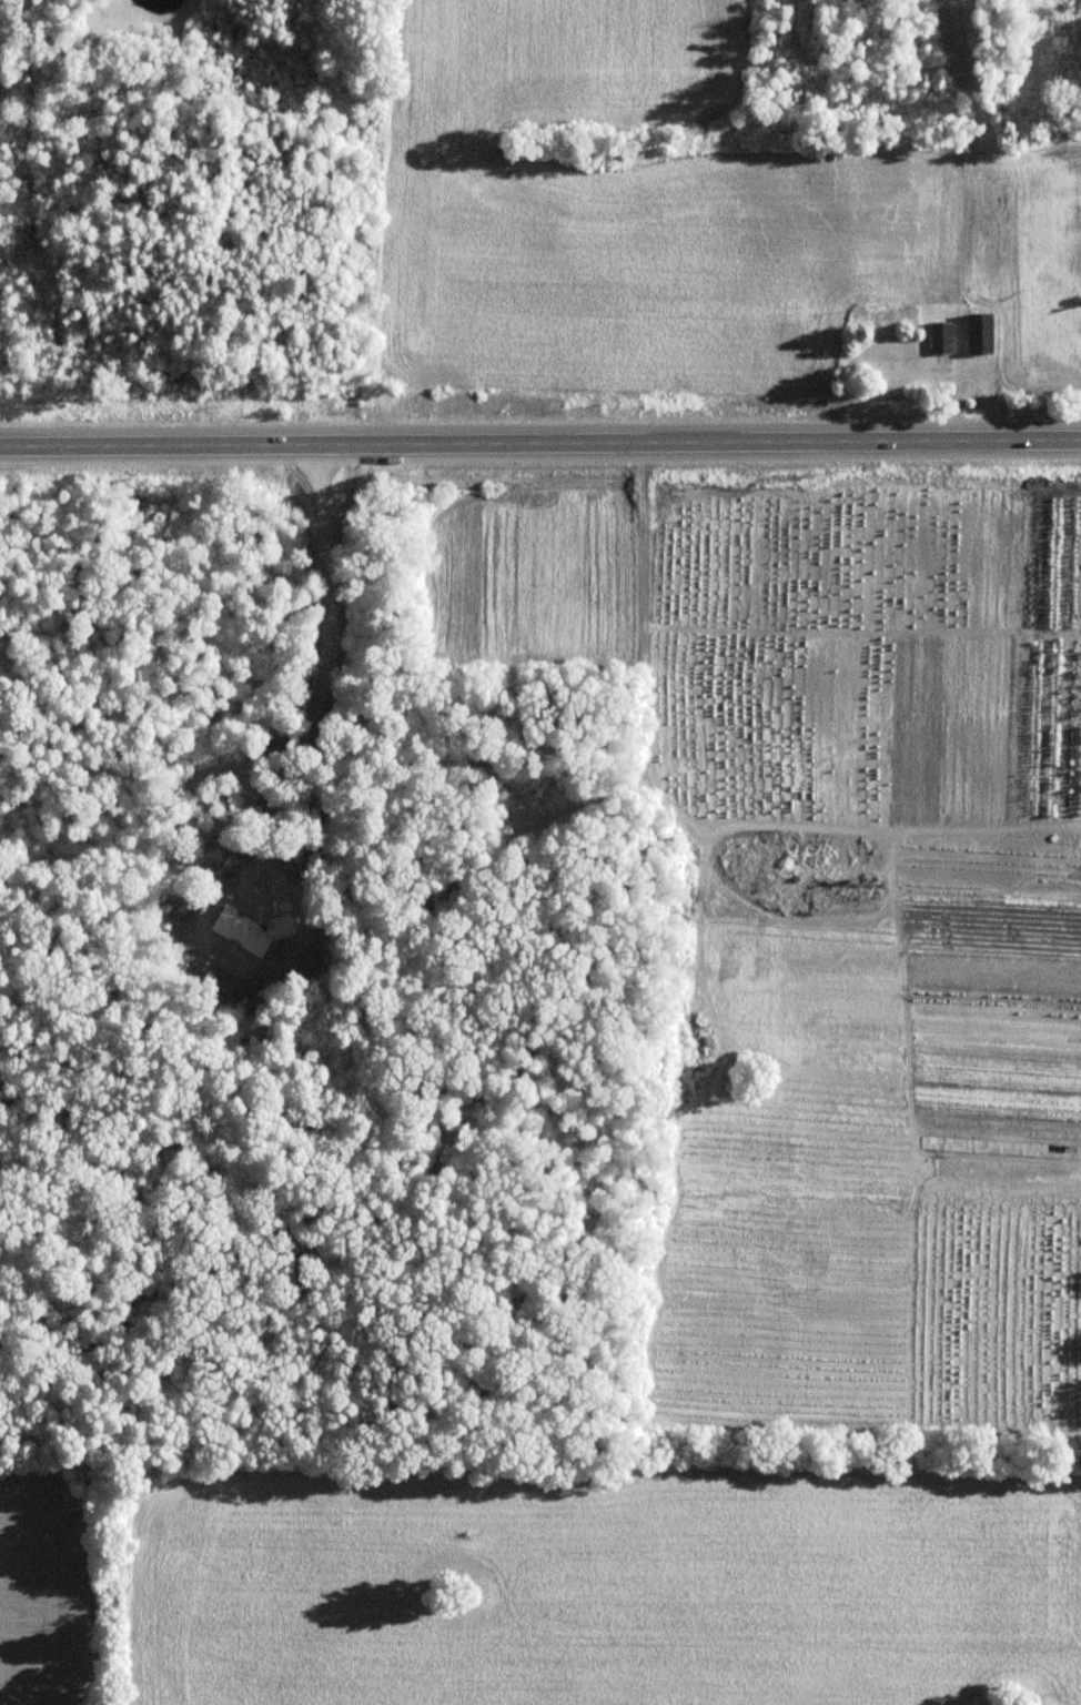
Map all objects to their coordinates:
building: (981, 333)
building: (941, 336)
road: (540, 444)
road: (320, 675)

